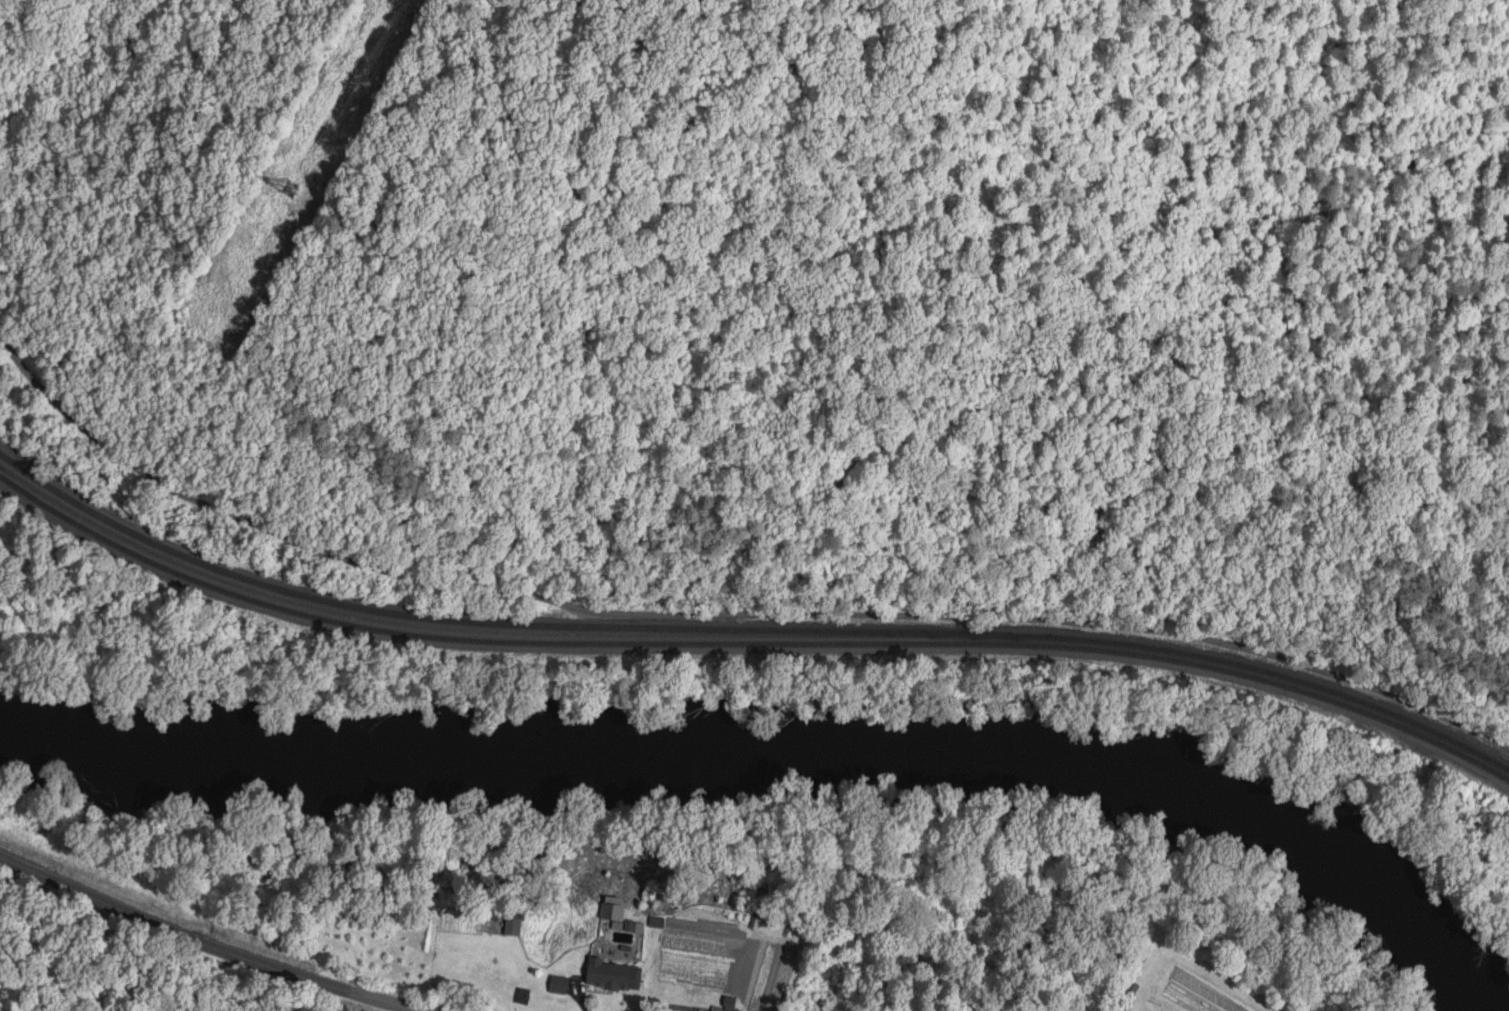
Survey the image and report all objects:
road: (740, 556)
railway: (748, 638)
river: (792, 759)
road: (203, 943)
building: (684, 973)
building: (607, 976)
building: (1128, 998)

